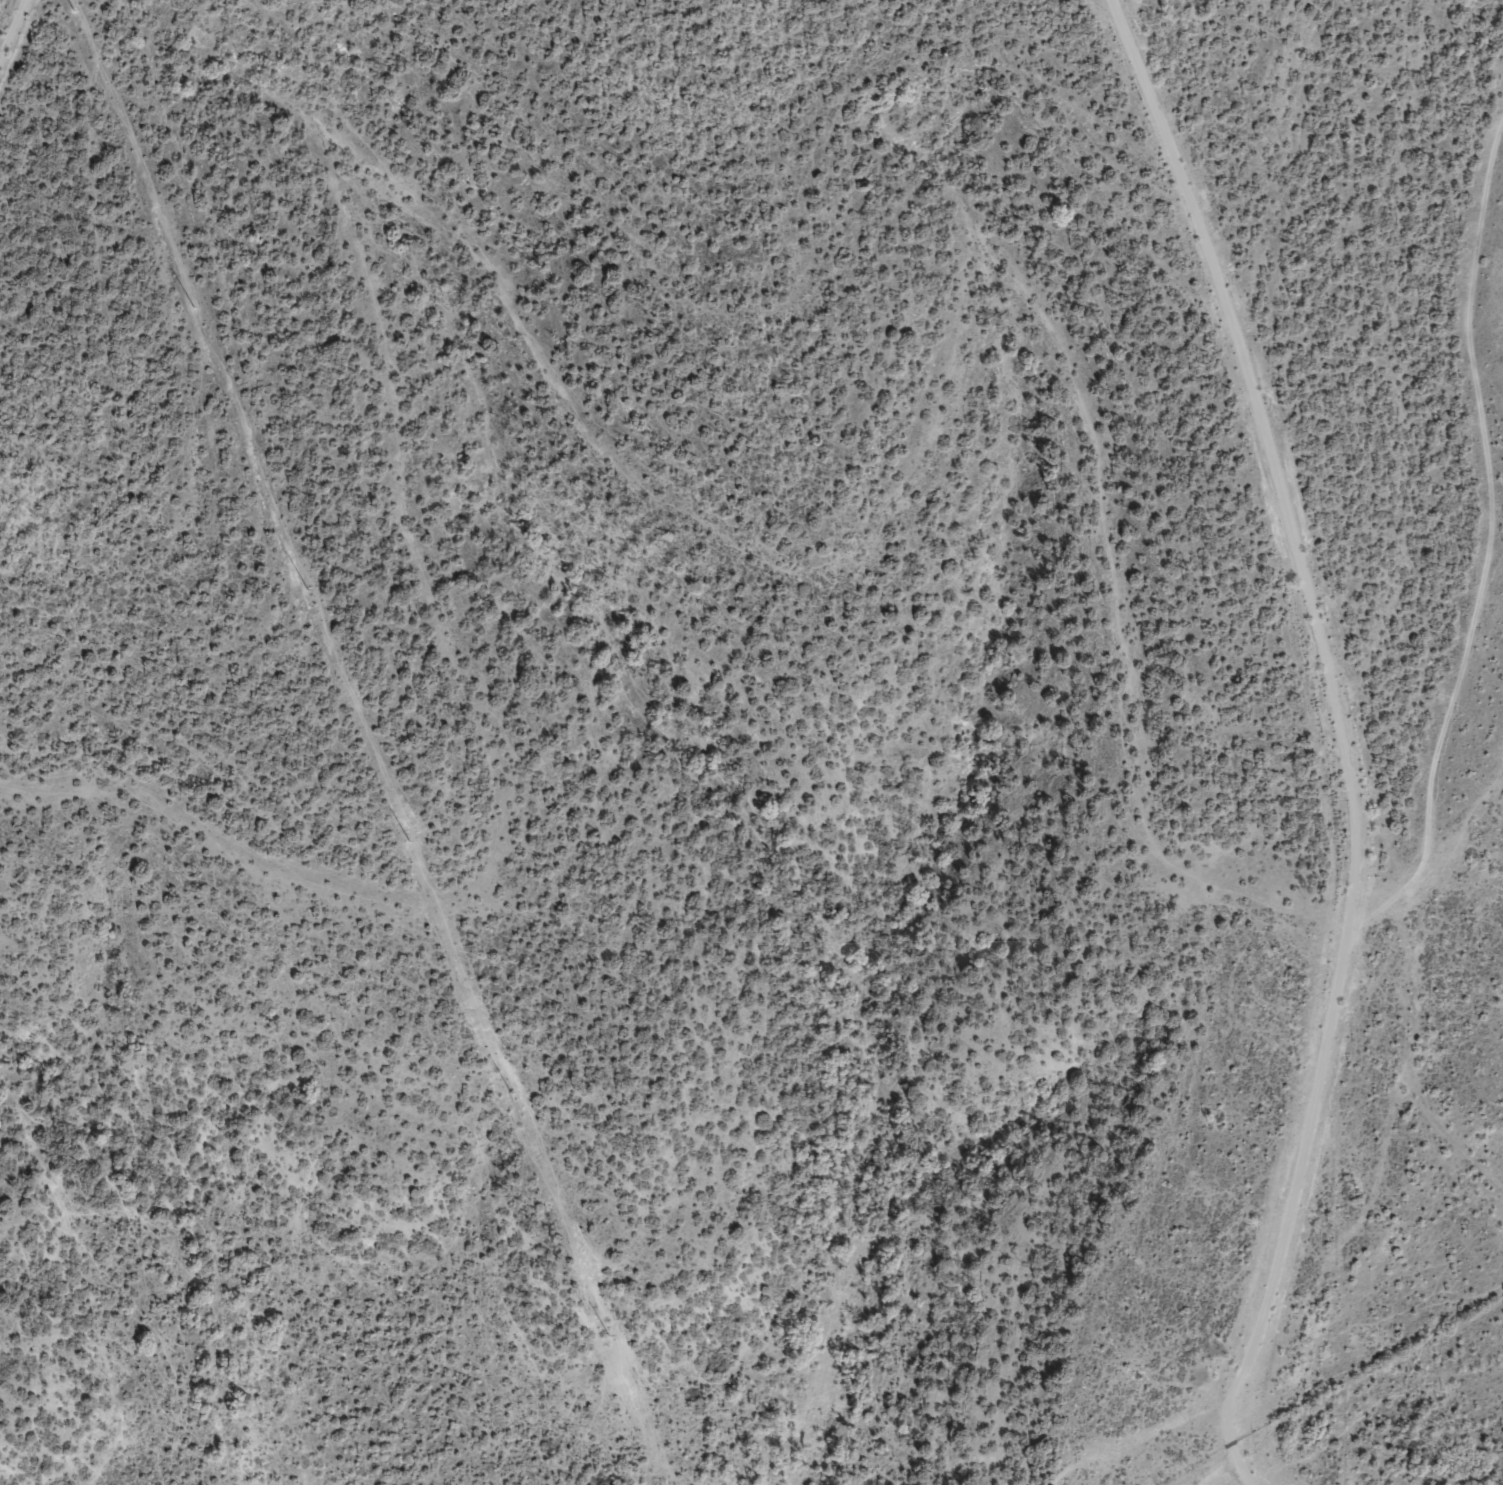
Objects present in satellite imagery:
power tower: (73, 11)
power tower: (193, 308)
power tower: (306, 590)
power tower: (408, 839)
road: (1412, 1030)
power tower: (512, 1092)
power tower: (608, 1336)
road: (1354, 1408)

